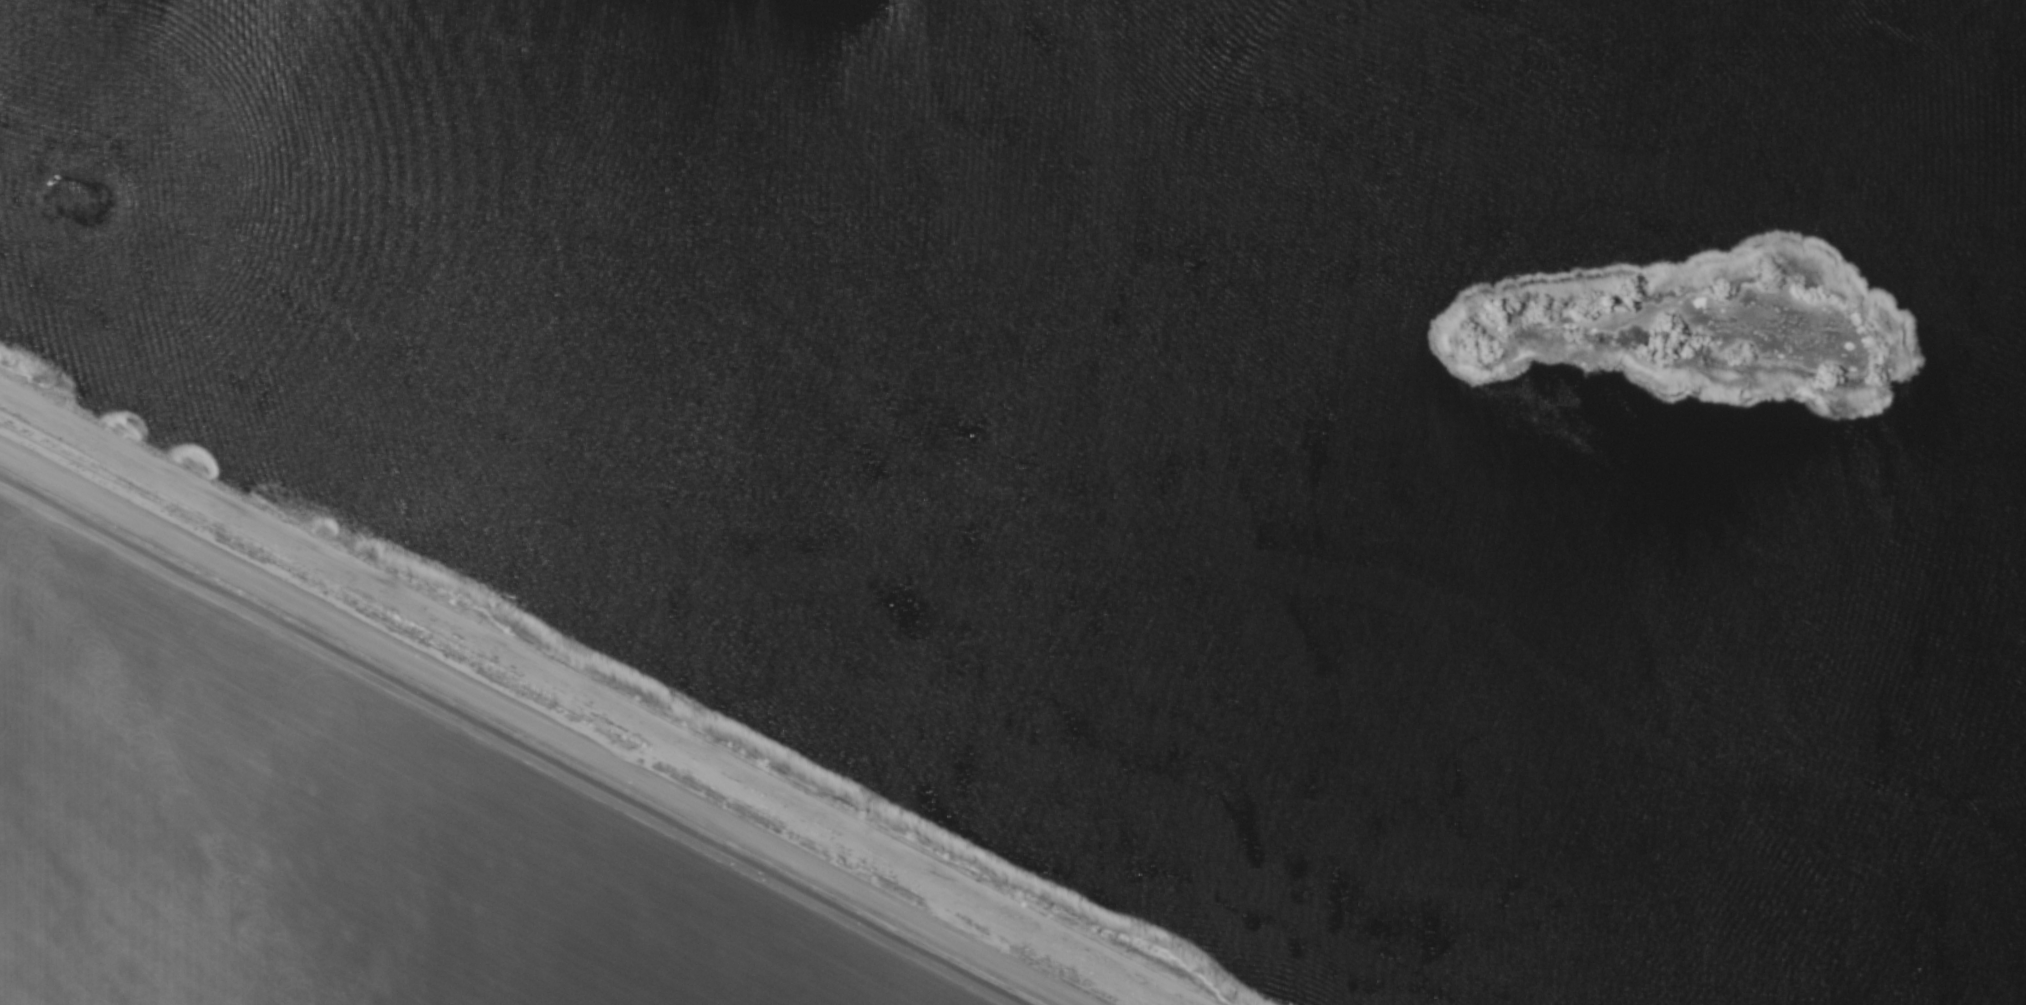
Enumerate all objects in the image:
crop: (440, 782)

